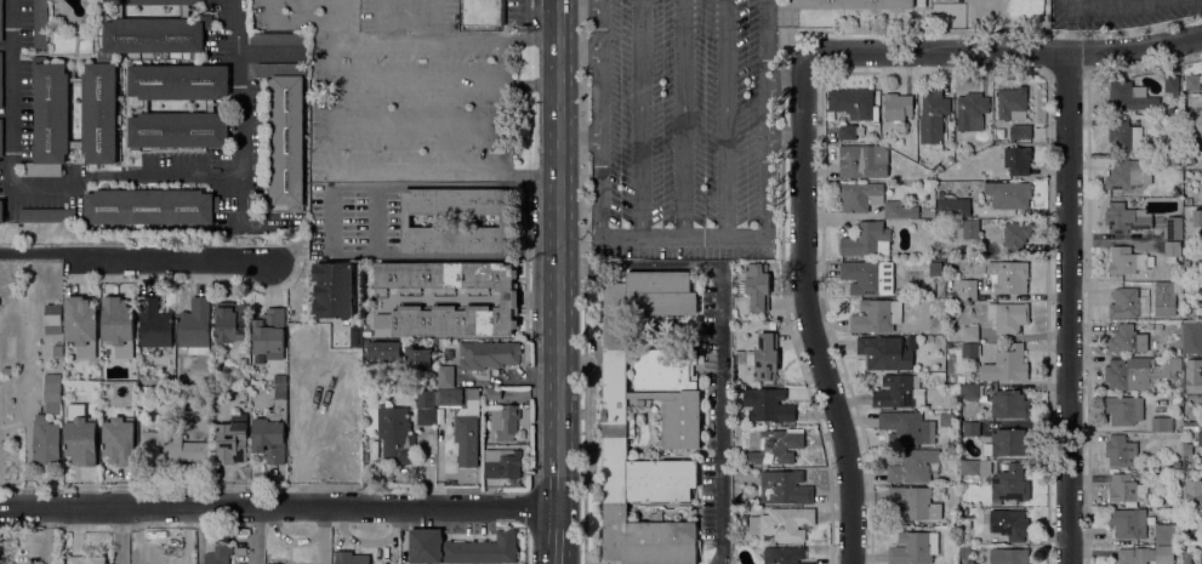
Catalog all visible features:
building: (153, 1)
road: (586, 1)
road: (1118, 1)
building: (859, 4)
building: (1024, 7)
building: (120, 11)
building: (184, 11)
building: (483, 12)
building: (1, 21)
road: (406, 21)
road: (284, 22)
road: (319, 22)
building: (40, 24)
road: (1069, 27)
road: (445, 36)
building: (278, 39)
road: (602, 47)
road: (1006, 51)
building: (1, 79)
road: (445, 79)
building: (75, 80)
building: (178, 81)
building: (1192, 82)
road: (785, 84)
building: (1172, 84)
building: (1130, 97)
building: (1010, 102)
building: (851, 103)
building: (144, 106)
building: (210, 106)
building: (898, 107)
building: (98, 112)
building: (970, 112)
building: (933, 115)
building: (50, 118)
road: (639, 118)
road: (684, 118)
building: (1191, 118)
road: (724, 119)
road: (409, 124)
building: (178, 130)
road: (784, 130)
building: (285, 131)
building: (848, 132)
building: (1022, 132)
building: (1124, 136)
building: (1, 137)
building: (997, 137)
road: (579, 141)
building: (75, 144)
building: (1016, 160)
building: (853, 161)
building: (1190, 161)
road: (357, 172)
building: (984, 173)
road: (115, 175)
building: (1124, 175)
building: (1009, 194)
building: (860, 196)
building: (1187, 201)
building: (150, 206)
building: (956, 209)
building: (899, 210)
building: (1, 211)
building: (47, 215)
building: (1124, 218)
building: (507, 221)
road: (376, 222)
building: (972, 228)
building: (1173, 228)
building: (1016, 235)
road: (710, 237)
building: (867, 240)
building: (1172, 251)
road: (557, 252)
road: (141, 258)
building: (1126, 261)
road: (639, 266)
building: (935, 267)
building: (1185, 270)
building: (868, 277)
building: (1007, 277)
building: (1184, 285)
building: (754, 286)
building: (1162, 289)
building: (1174, 289)
building: (1201, 289)
building: (332, 290)
building: (968, 290)
building: (899, 291)
building: (950, 296)
building: (445, 298)
building: (1126, 303)
road: (1069, 308)
road: (808, 311)
building: (877, 317)
building: (1008, 317)
building: (53, 319)
building: (116, 320)
building: (154, 324)
building: (230, 324)
building: (80, 325)
building: (773, 325)
building: (194, 326)
building: (269, 334)
building: (970, 334)
building: (355, 336)
building: (1192, 336)
building: (313, 338)
building: (1126, 340)
building: (970, 349)
building: (57, 351)
building: (382, 351)
building: (884, 353)
building: (488, 354)
building: (764, 357)
building: (417, 358)
building: (243, 360)
building: (1007, 365)
building: (354, 368)
building: (7, 371)
building: (1137, 372)
building: (445, 376)
building: (1192, 376)
building: (961, 378)
building: (970, 391)
building: (899, 392)
building: (52, 393)
building: (491, 393)
building: (450, 397)
building: (319, 399)
building: (1009, 404)
building: (769, 406)
building: (426, 408)
building: (1124, 410)
building: (204, 412)
road: (718, 414)
building: (680, 415)
building: (945, 418)
building: (508, 422)
building: (1161, 423)
building: (904, 427)
building: (972, 427)
building: (272, 431)
building: (467, 433)
building: (81, 435)
building: (395, 435)
building: (1196, 437)
building: (119, 440)
building: (45, 441)
building: (1006, 443)
building: (230, 444)
building: (777, 445)
building: (172, 446)
building: (1121, 451)
building: (502, 463)
building: (1177, 463)
building: (915, 466)
building: (975, 467)
building: (999, 467)
building: (1009, 484)
building: (785, 488)
building: (1127, 489)
building: (739, 495)
building: (1192, 499)
building: (913, 503)
road: (278, 506)
building: (963, 511)
building: (782, 523)
building: (1128, 523)
building: (1008, 524)
road: (119, 535)
road: (258, 535)
road: (324, 535)
road: (557, 535)
building: (1164, 535)
building: (1191, 535)
building: (460, 548)
building: (913, 548)
building: (964, 549)
building: (1166, 553)
building: (218, 554)
building: (784, 554)
building: (1008, 556)
building: (1132, 556)
building: (1201, 556)
building: (1186, 557)
building: (349, 558)
building: (86, 559)

